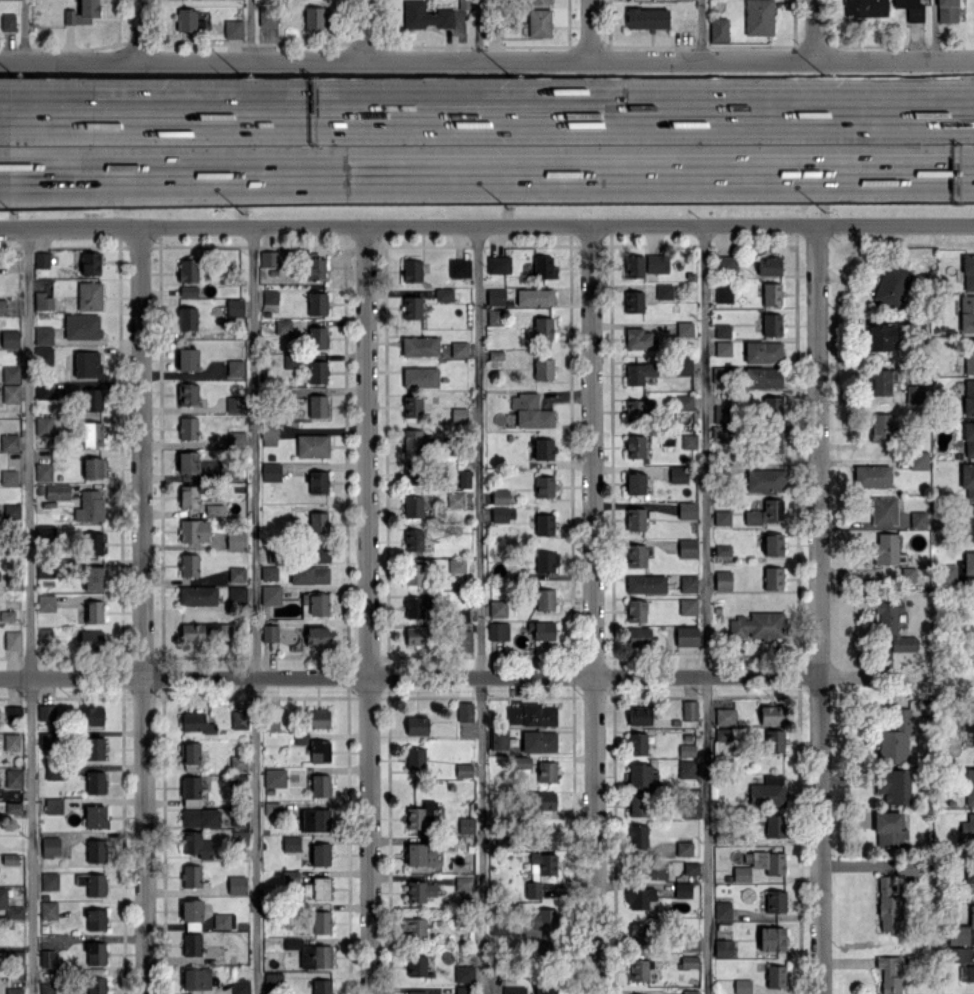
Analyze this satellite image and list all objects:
road: (365, 28)
road: (589, 28)
road: (699, 28)
road: (813, 28)
road: (249, 29)
road: (476, 29)
road: (135, 30)
road: (24, 31)
road: (486, 57)
road: (487, 111)
road: (486, 172)
road: (486, 225)
road: (815, 451)
road: (706, 608)
road: (366, 609)
road: (477, 609)
road: (591, 609)
road: (141, 610)
road: (253, 610)
road: (28, 611)
road: (407, 678)
road: (817, 836)

